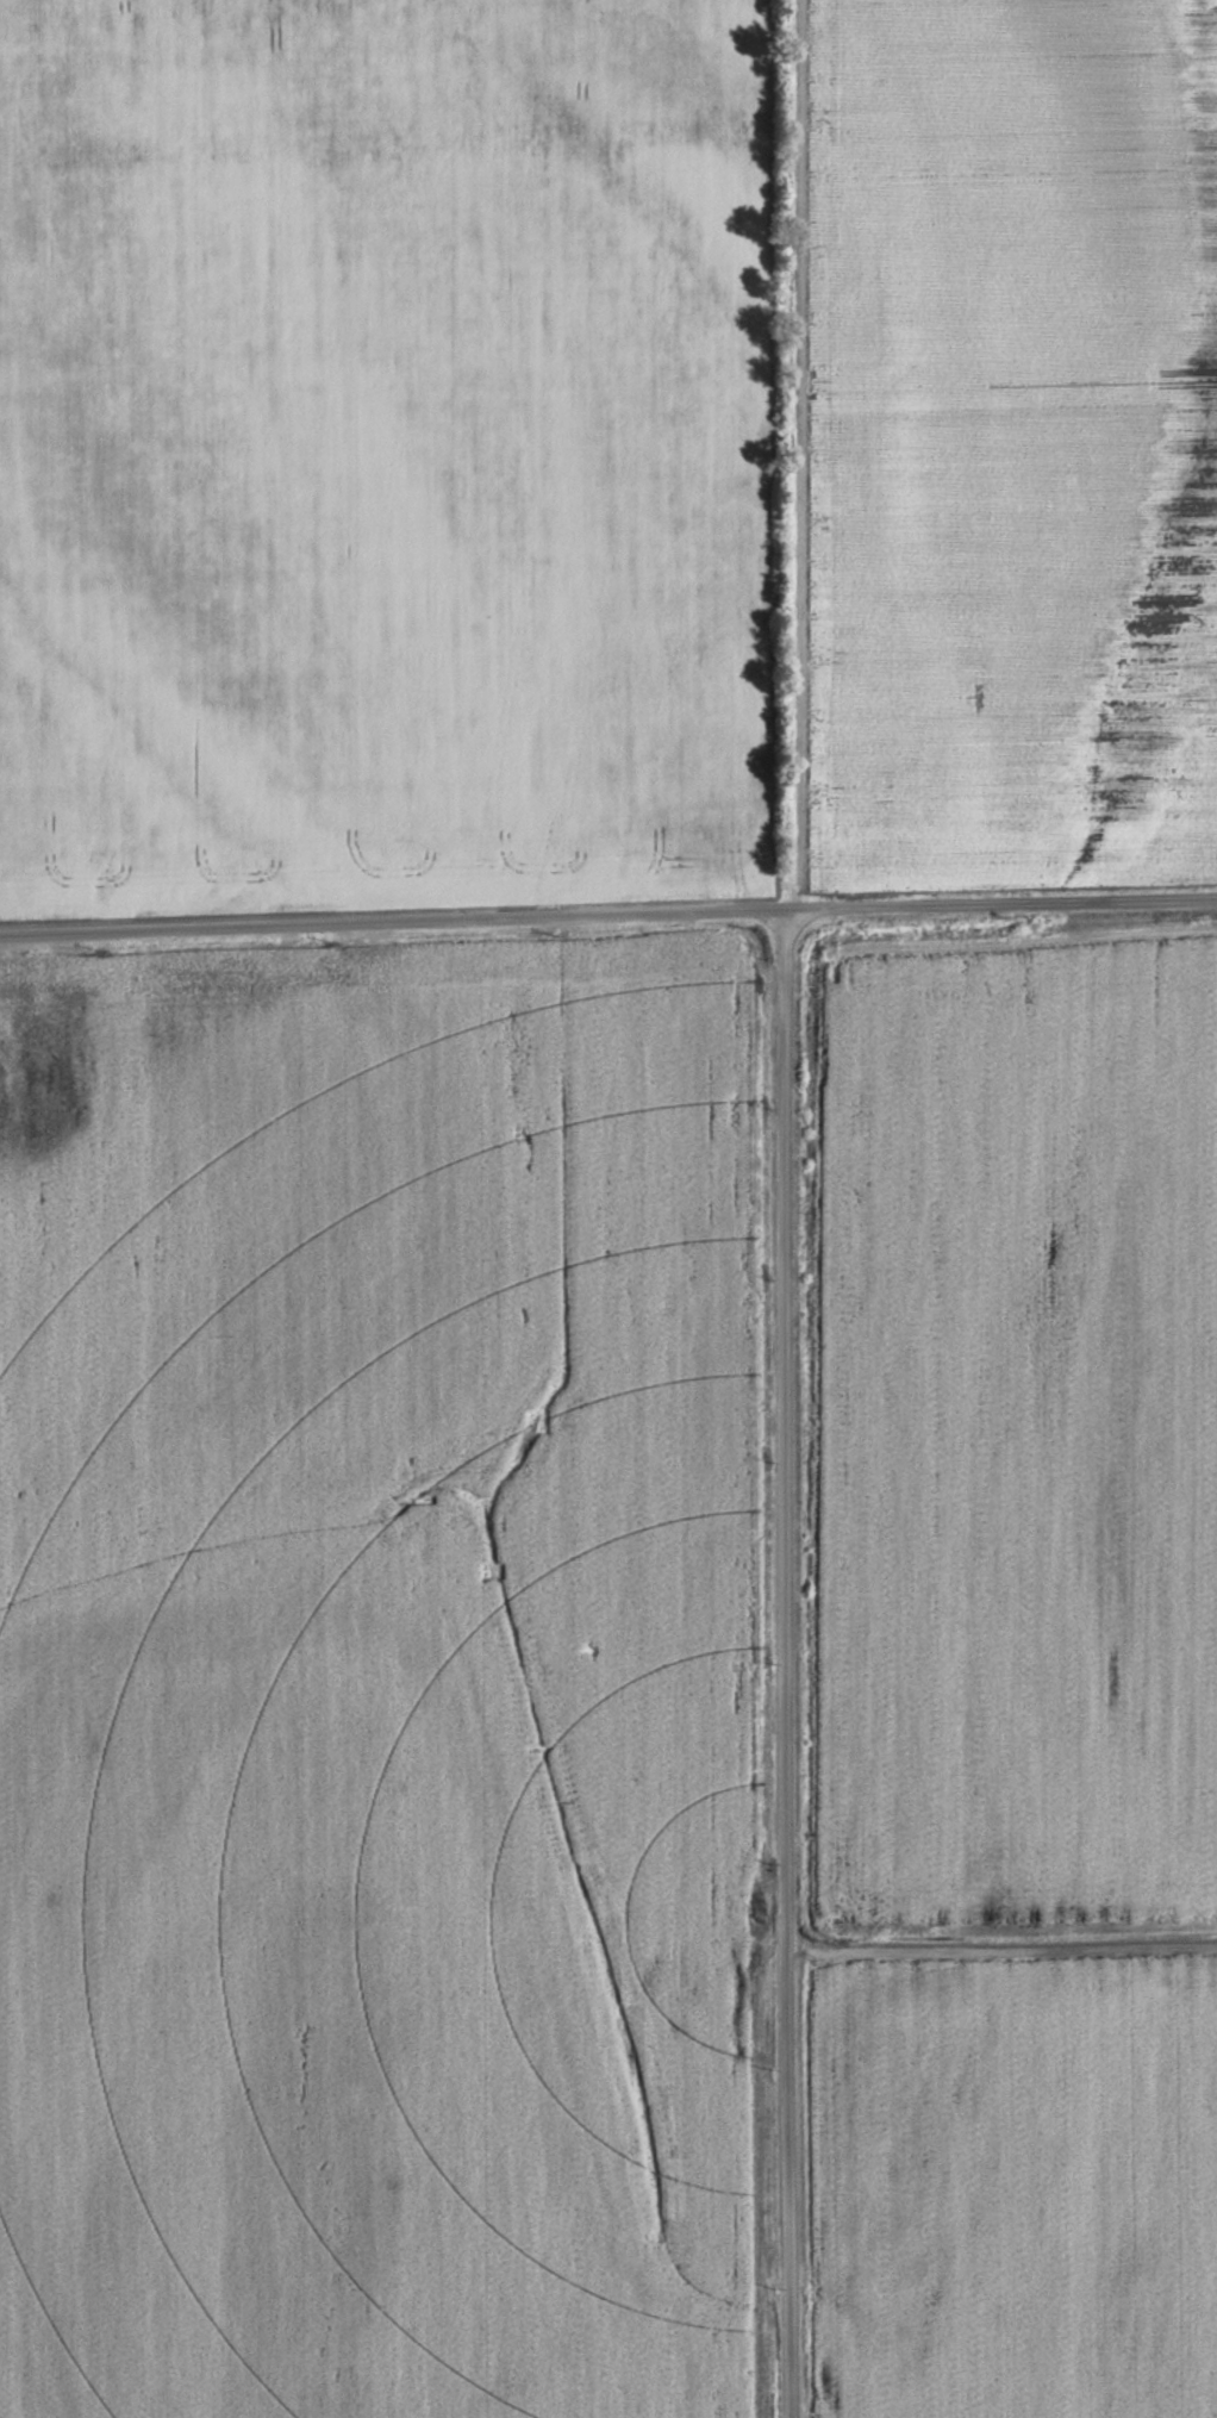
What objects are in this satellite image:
road: (607, 911)
road: (785, 1662)

